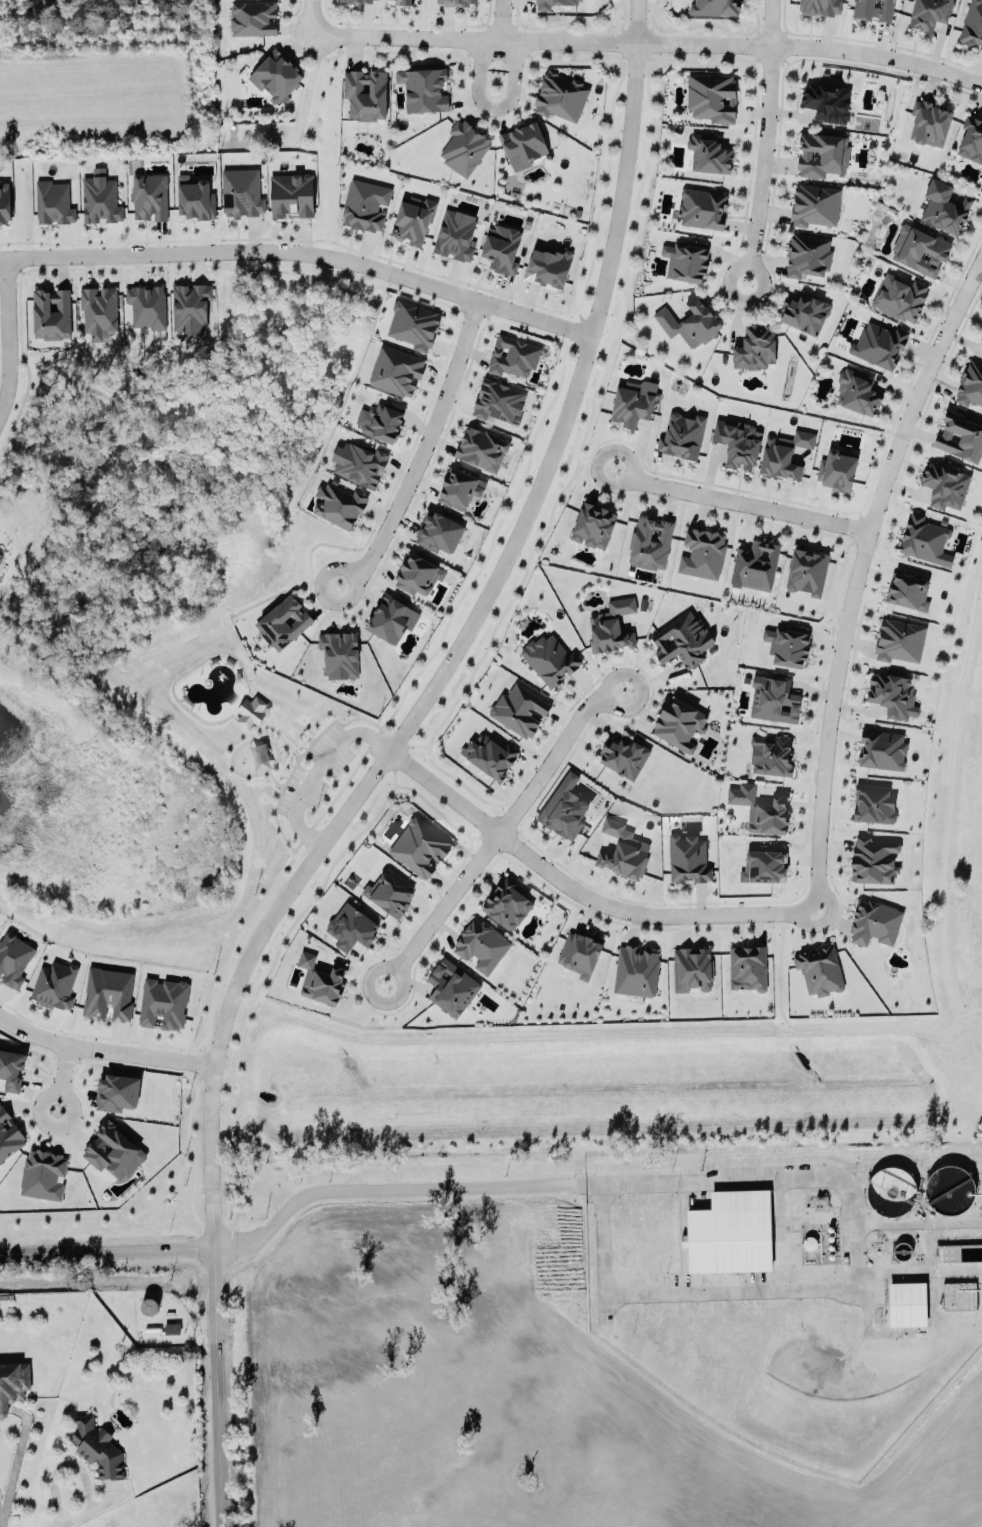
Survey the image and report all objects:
building: (359, 0)
building: (569, 0)
building: (404, 1)
building: (454, 1)
building: (544, 3)
building: (714, 6)
building: (822, 6)
building: (874, 8)
building: (929, 12)
road: (311, 15)
building: (253, 16)
road: (502, 19)
building: (972, 24)
road: (653, 40)
building: (276, 73)
building: (423, 87)
building: (366, 92)
road: (971, 93)
building: (561, 94)
building: (712, 95)
building: (828, 100)
road: (471, 103)
road: (494, 107)
road: (752, 111)
road: (790, 111)
road: (652, 115)
building: (930, 120)
building: (971, 137)
road: (766, 141)
building: (523, 142)
road: (778, 142)
building: (465, 146)
building: (709, 151)
building: (822, 152)
building: (241, 190)
building: (195, 192)
building: (150, 194)
building: (291, 194)
building: (100, 198)
building: (4, 201)
building: (54, 201)
building: (365, 204)
building: (815, 204)
building: (702, 206)
building: (945, 206)
building: (414, 218)
building: (455, 233)
building: (501, 246)
building: (920, 248)
road: (302, 251)
building: (808, 254)
road: (383, 256)
building: (686, 259)
building: (548, 265)
building: (900, 296)
building: (100, 306)
building: (147, 306)
building: (190, 306)
building: (52, 311)
building: (805, 311)
building: (691, 320)
building: (413, 324)
road: (6, 333)
building: (981, 335)
building: (878, 344)
building: (755, 346)
building: (513, 354)
building: (396, 368)
building: (971, 383)
road: (934, 384)
building: (857, 390)
road: (433, 399)
building: (498, 399)
building: (631, 404)
building: (384, 419)
road: (619, 431)
building: (682, 433)
building: (960, 437)
building: (738, 440)
building: (481, 446)
road: (883, 446)
road: (638, 449)
road: (639, 450)
road: (423, 452)
building: (784, 453)
building: (359, 462)
building: (837, 468)
road: (664, 470)
building: (945, 483)
building: (460, 486)
road: (739, 502)
building: (338, 503)
road: (671, 503)
road: (702, 511)
building: (594, 523)
building: (440, 529)
building: (924, 539)
building: (650, 540)
building: (702, 553)
building: (0, 556)
building: (755, 565)
building: (807, 570)
road: (858, 571)
building: (418, 572)
road: (521, 580)
building: (908, 587)
building: (392, 617)
building: (283, 620)
building: (612, 625)
building: (682, 639)
building: (899, 640)
road: (460, 643)
building: (788, 644)
road: (828, 645)
building: (340, 653)
building: (550, 657)
road: (651, 682)
building: (893, 692)
building: (773, 699)
building: (519, 709)
building: (251, 711)
building: (679, 722)
road: (419, 745)
building: (882, 749)
building: (489, 752)
building: (624, 754)
building: (770, 755)
road: (311, 769)
road: (347, 783)
road: (947, 787)
building: (873, 803)
building: (762, 808)
building: (564, 810)
road: (502, 831)
building: (419, 845)
building: (624, 849)
building: (687, 857)
building: (873, 858)
road: (492, 861)
building: (762, 862)
building: (390, 891)
road: (581, 892)
building: (507, 904)
building: (874, 922)
building: (350, 925)
building: (482, 944)
building: (581, 951)
building: (13, 955)
building: (748, 965)
building: (692, 967)
building: (636, 969)
building: (819, 970)
building: (320, 976)
building: (54, 983)
building: (452, 986)
building: (109, 991)
building: (163, 1002)
road: (977, 1008)
road: (829, 1027)
road: (104, 1050)
road: (85, 1059)
building: (11, 1068)
road: (60, 1078)
building: (118, 1089)
road: (228, 1121)
building: (9, 1134)
building: (113, 1151)
building: (43, 1172)
road: (737, 1178)
building: (949, 1189)
wastewater plant: (949, 1189)
building: (890, 1190)
wastewater plant: (891, 1191)
road: (909, 1231)
building: (730, 1232)
wastewater plant: (731, 1232)
wastewater plant: (809, 1242)
road: (106, 1249)
wastewater plant: (901, 1250)
building: (947, 1253)
building: (959, 1295)
building: (907, 1303)
wastewater plant: (908, 1304)
building: (172, 1328)
building: (13, 1382)
road: (216, 1387)
building: (98, 1447)
road: (14, 1462)
road: (90, 1507)
road: (0, 1514)

